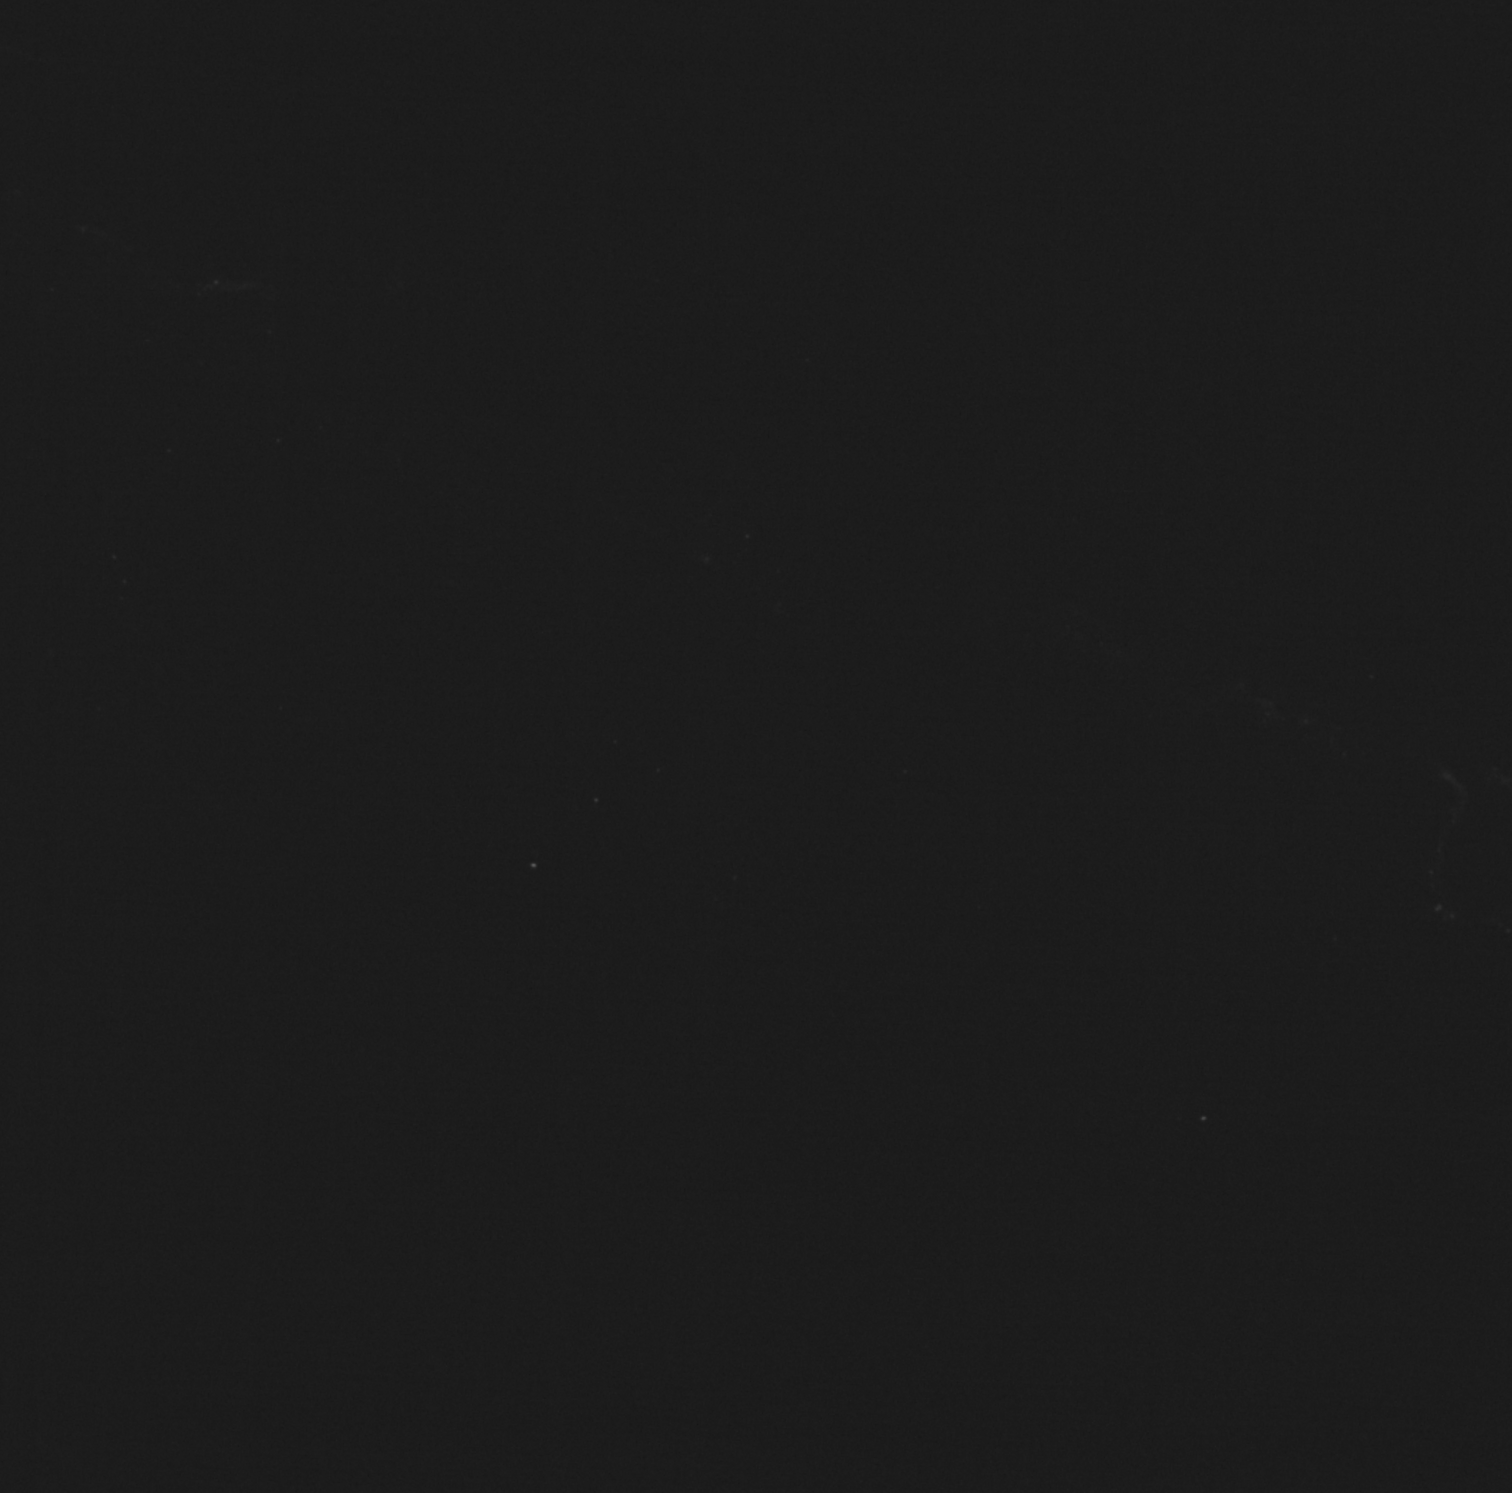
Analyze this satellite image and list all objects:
river: (756, 563)

